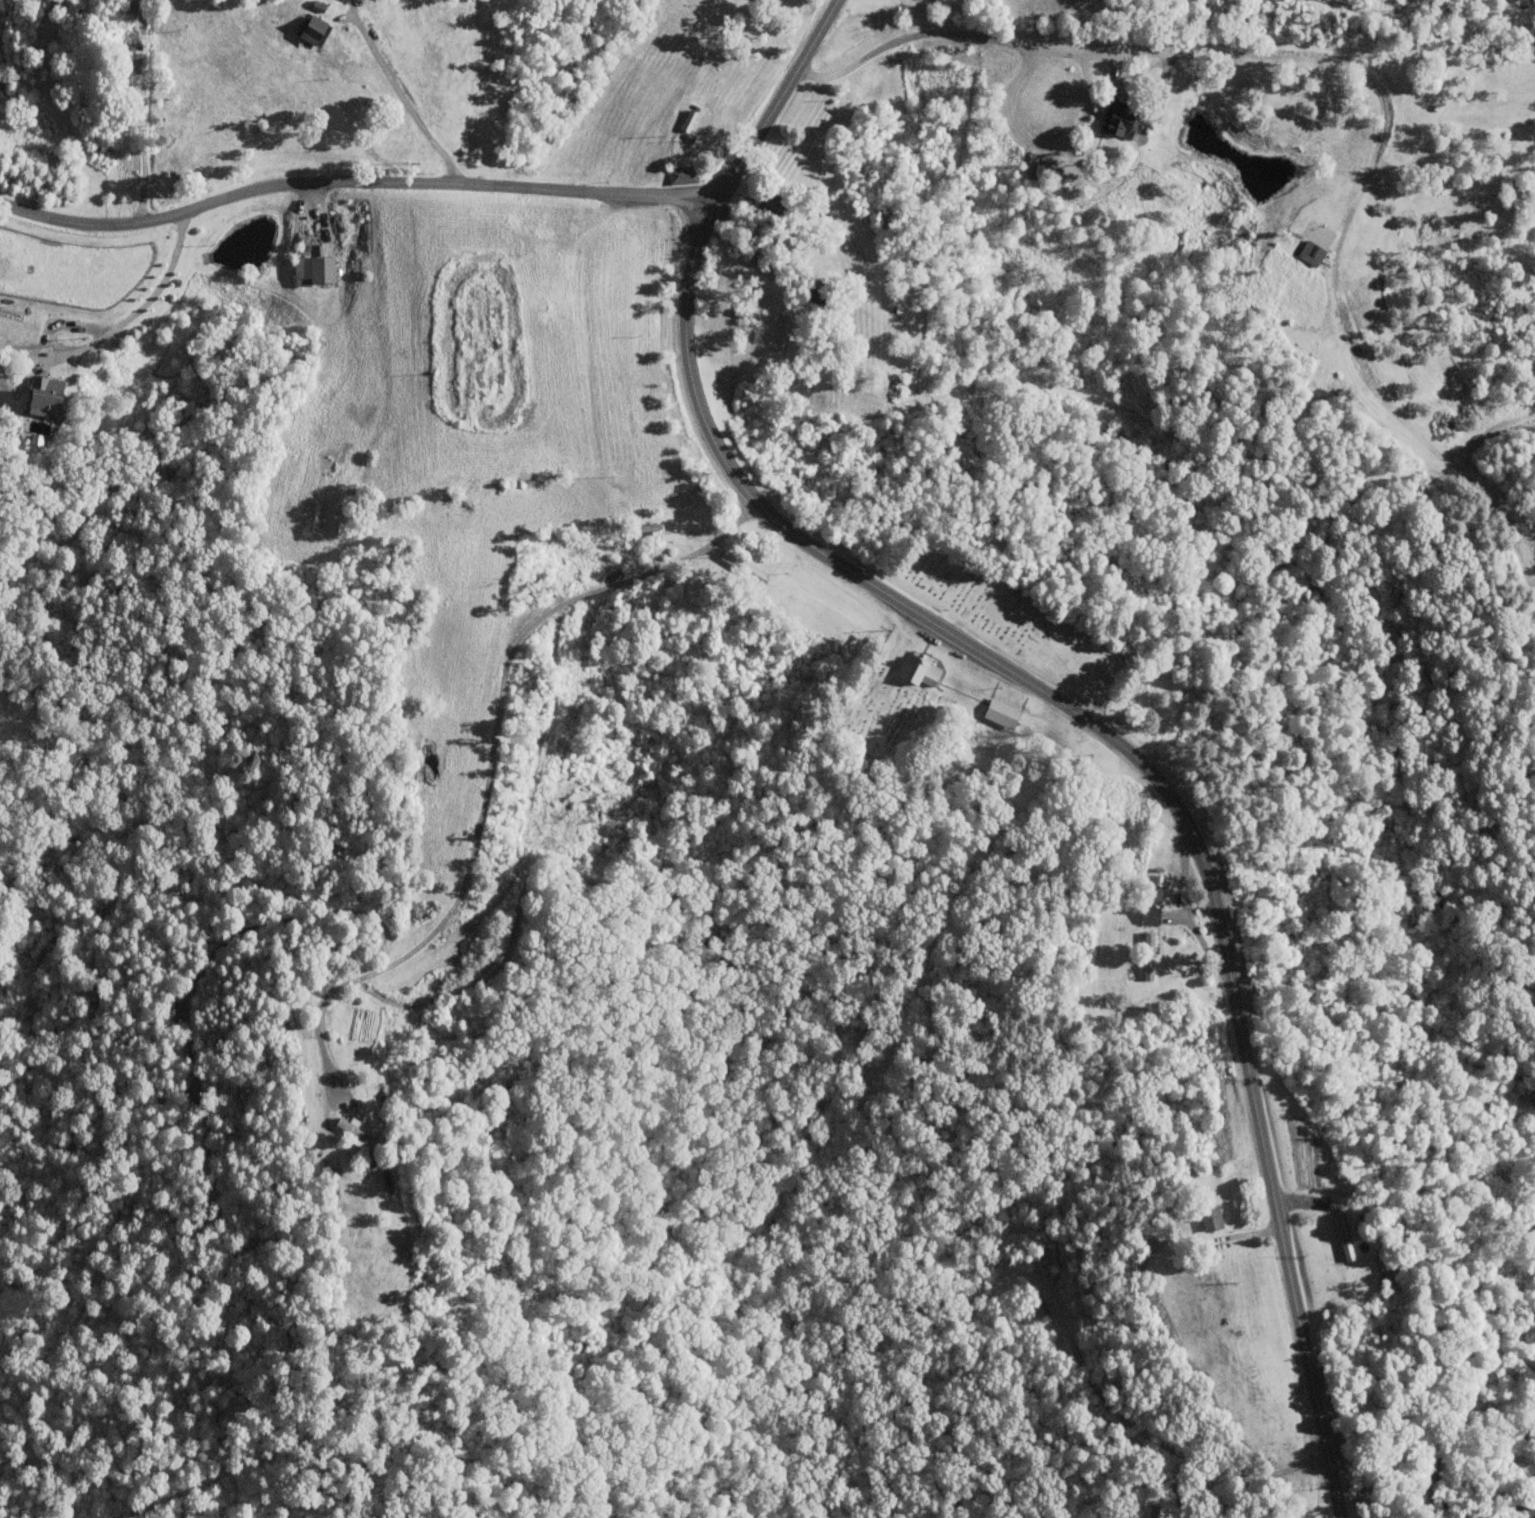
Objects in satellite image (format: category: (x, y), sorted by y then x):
building: (774, 1)
building: (136, 5)
building: (122, 6)
building: (314, 30)
road: (1160, 51)
building: (128, 53)
road: (401, 102)
building: (1118, 116)
building: (682, 175)
road: (350, 182)
building: (769, 204)
building: (1310, 252)
building: (313, 268)
road: (120, 322)
building: (46, 395)
building: (647, 526)
building: (920, 669)
road: (1043, 694)
building: (1000, 712)
road: (488, 760)
building: (1149, 913)
building: (1148, 955)
building: (296, 1019)
building: (354, 1132)
building: (1210, 1217)
building: (1343, 1237)
building: (1381, 1269)

